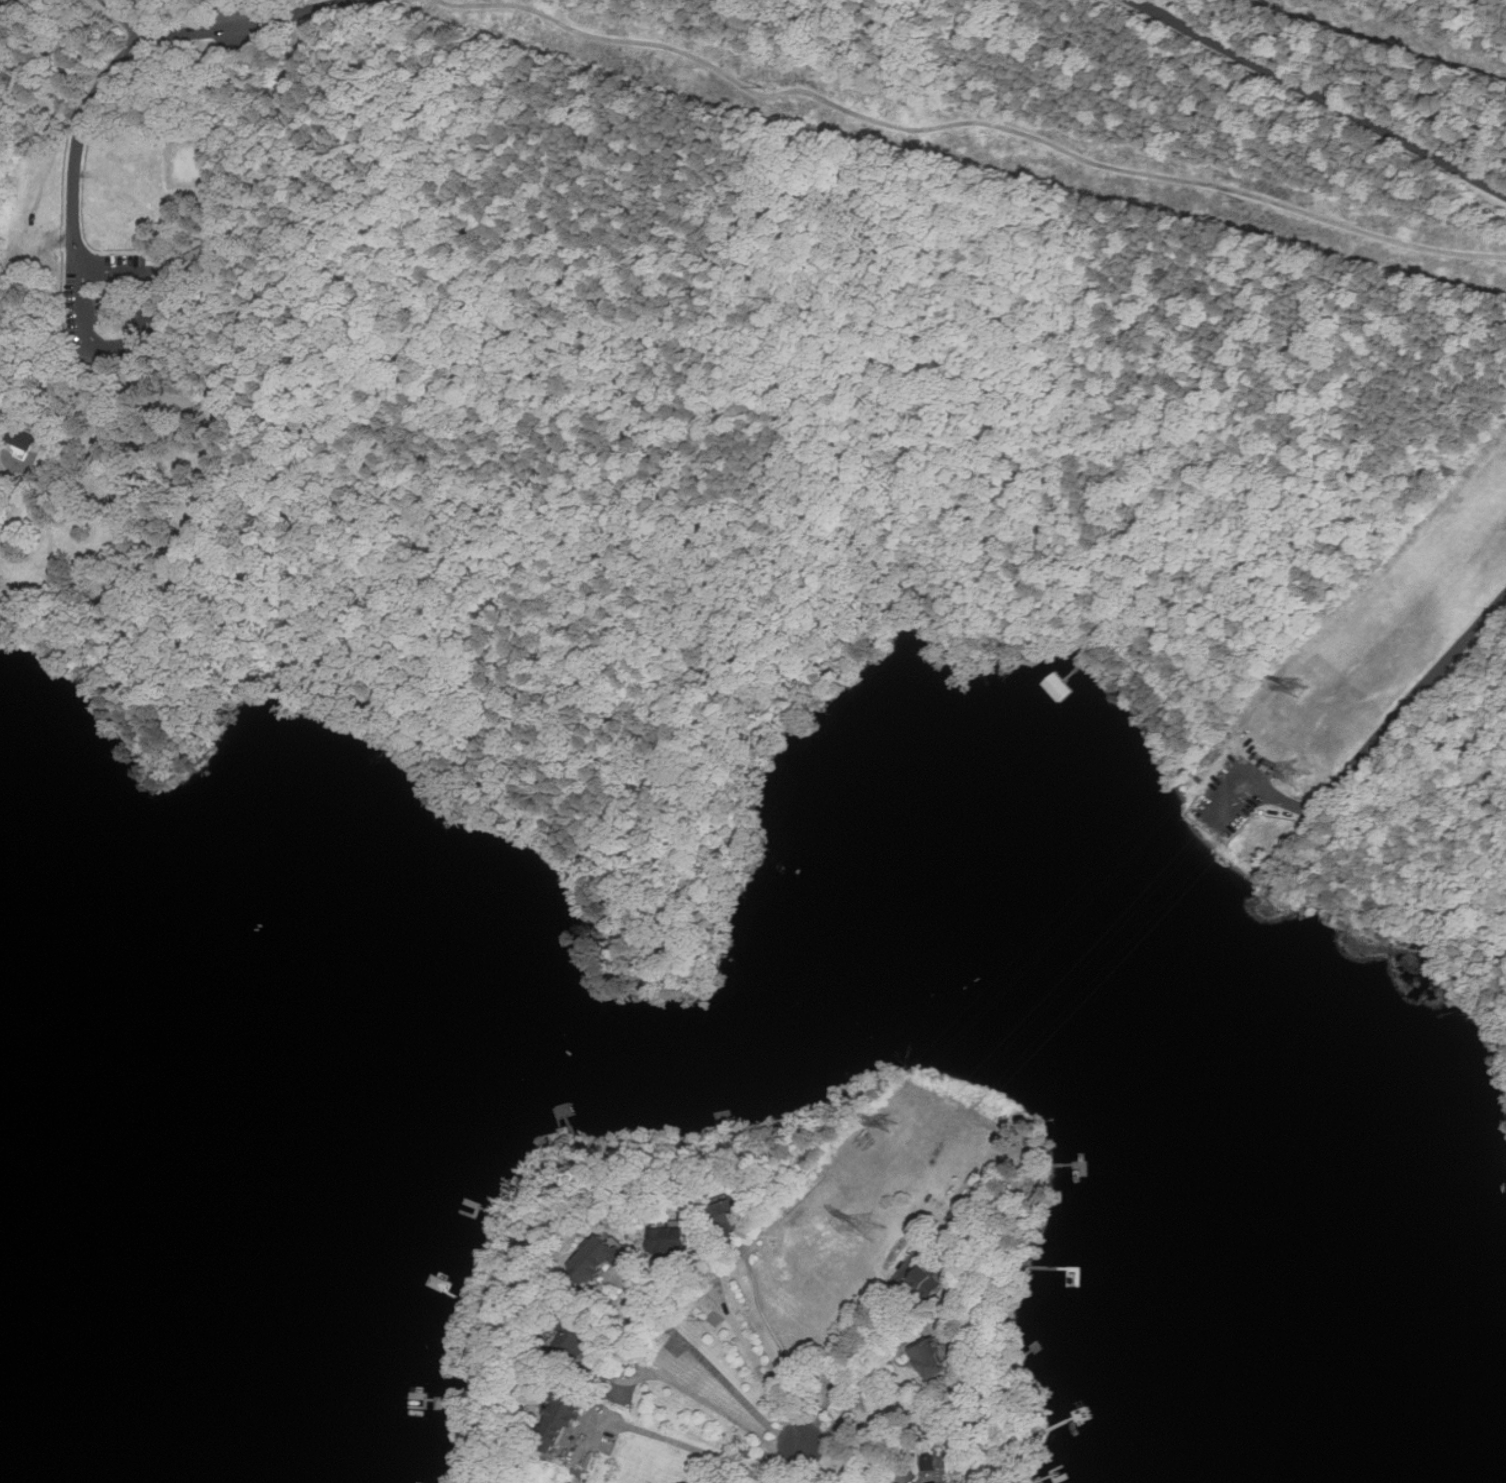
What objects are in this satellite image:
road: (230, 10)
road: (245, 18)
road: (127, 19)
road: (1323, 100)
road: (971, 126)
road: (81, 135)
park: (186, 162)
road: (209, 164)
road: (88, 300)
parking lot: (119, 302)
road: (149, 304)
road: (69, 376)
road: (21, 411)
building: (21, 439)
building: (25, 448)
road: (995, 582)
road: (941, 595)
road: (1441, 667)
power tower: (1302, 688)
road: (1494, 710)
road: (139, 722)
power tower: (1296, 774)
parking lot: (1233, 793)
road: (1309, 804)
road: (701, 816)
road: (739, 869)
power tower: (893, 1118)
building: (743, 1209)
power tower: (875, 1223)
building: (612, 1262)
building: (932, 1280)
road: (845, 1343)
road: (781, 1347)
building: (935, 1360)
road: (715, 1366)
road: (761, 1366)
road: (667, 1379)
road: (857, 1399)
building: (571, 1409)
road: (693, 1448)
building: (932, 1462)
road: (801, 1463)
building: (902, 1482)

